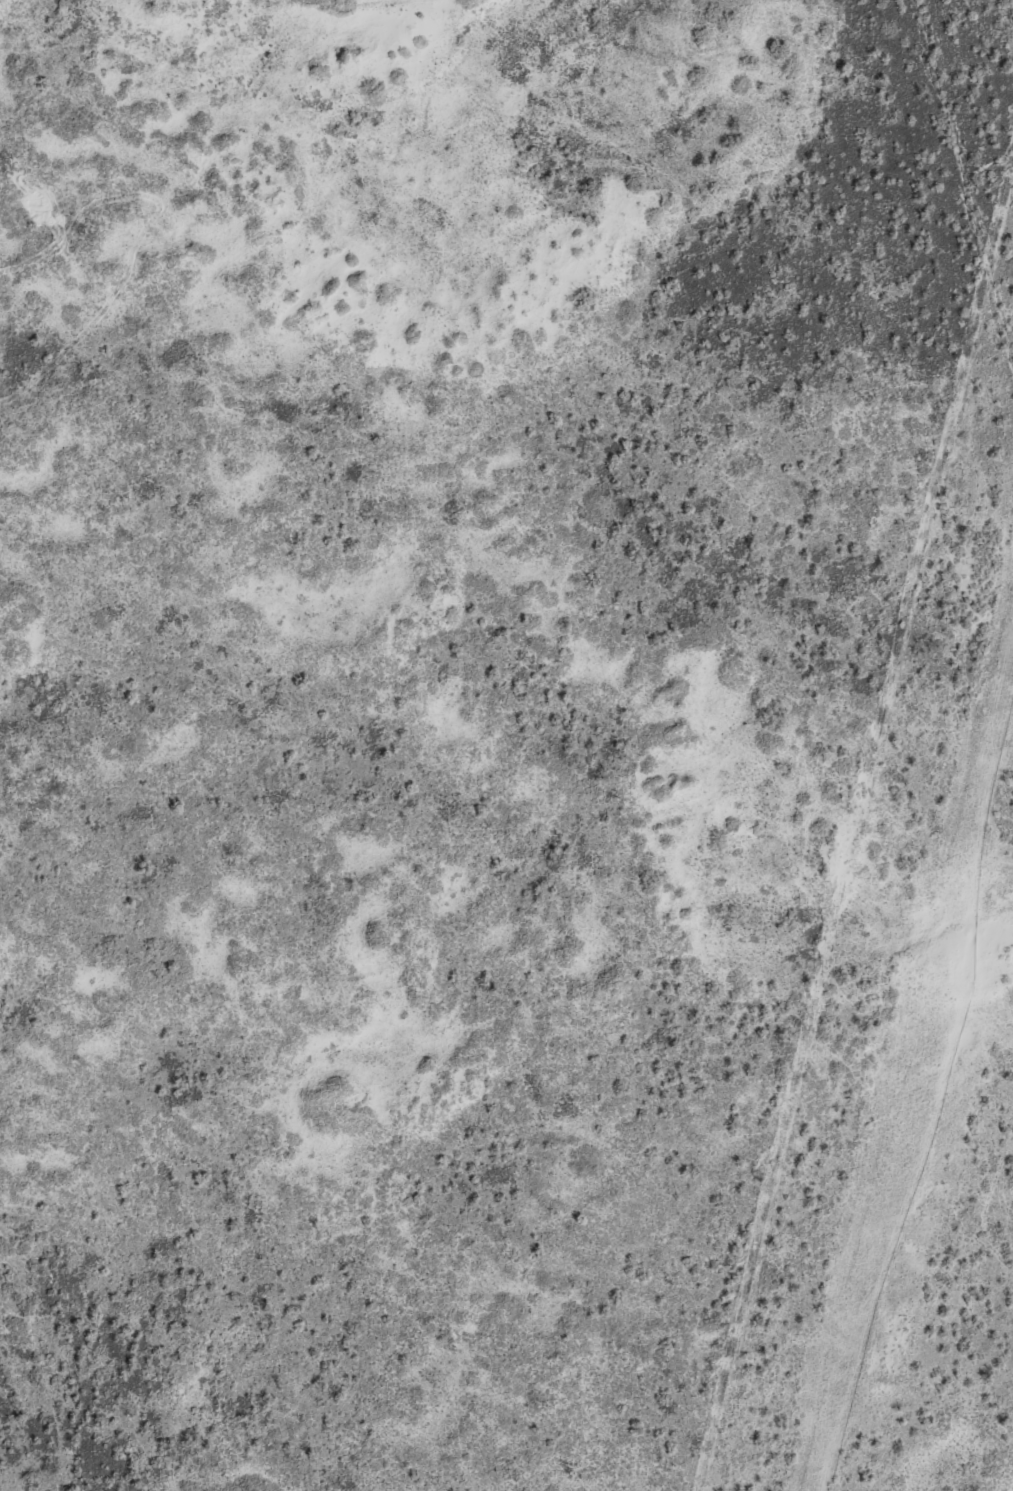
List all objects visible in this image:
road: (966, 185)

